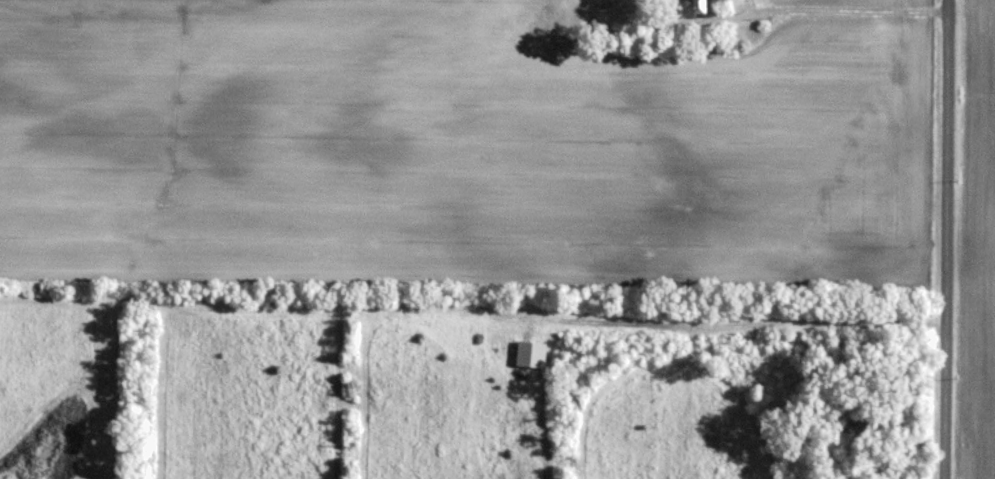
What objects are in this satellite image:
road: (943, 239)
road: (755, 322)

